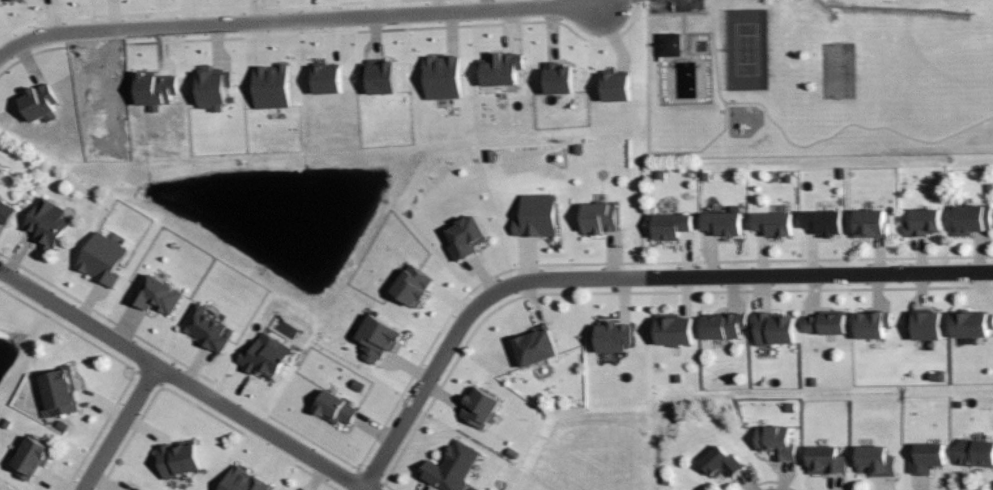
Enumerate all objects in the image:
building: (4, 1)
road: (608, 2)
parking lot: (678, 7)
road: (296, 21)
building: (669, 46)
park: (746, 48)
road: (721, 51)
building: (500, 70)
park: (837, 70)
park: (818, 74)
building: (378, 79)
building: (441, 79)
building: (558, 79)
building: (325, 81)
building: (270, 88)
building: (212, 89)
building: (615, 89)
road: (849, 125)
road: (721, 131)
building: (1, 172)
building: (535, 215)
building: (597, 217)
building: (970, 218)
building: (821, 220)
building: (920, 221)
building: (46, 222)
building: (721, 222)
building: (772, 222)
building: (867, 222)
building: (670, 224)
building: (465, 236)
building: (101, 259)
road: (817, 260)
road: (622, 276)
building: (411, 285)
building: (155, 293)
road: (637, 293)
road: (458, 303)
building: (826, 324)
building: (871, 324)
building: (923, 324)
building: (970, 324)
building: (722, 326)
building: (206, 327)
building: (773, 328)
building: (673, 329)
building: (611, 336)
building: (376, 338)
building: (534, 347)
building: (264, 356)
road: (178, 381)
building: (58, 391)
building: (478, 407)
building: (334, 408)
road: (118, 429)
building: (774, 440)
building: (974, 452)
building: (30, 457)
building: (924, 457)
building: (176, 459)
building: (824, 459)
building: (873, 460)
building: (718, 462)
building: (451, 467)
road: (368, 477)
building: (241, 481)
road: (769, 481)
road: (386, 487)
building: (132, 488)
building: (471, 488)

